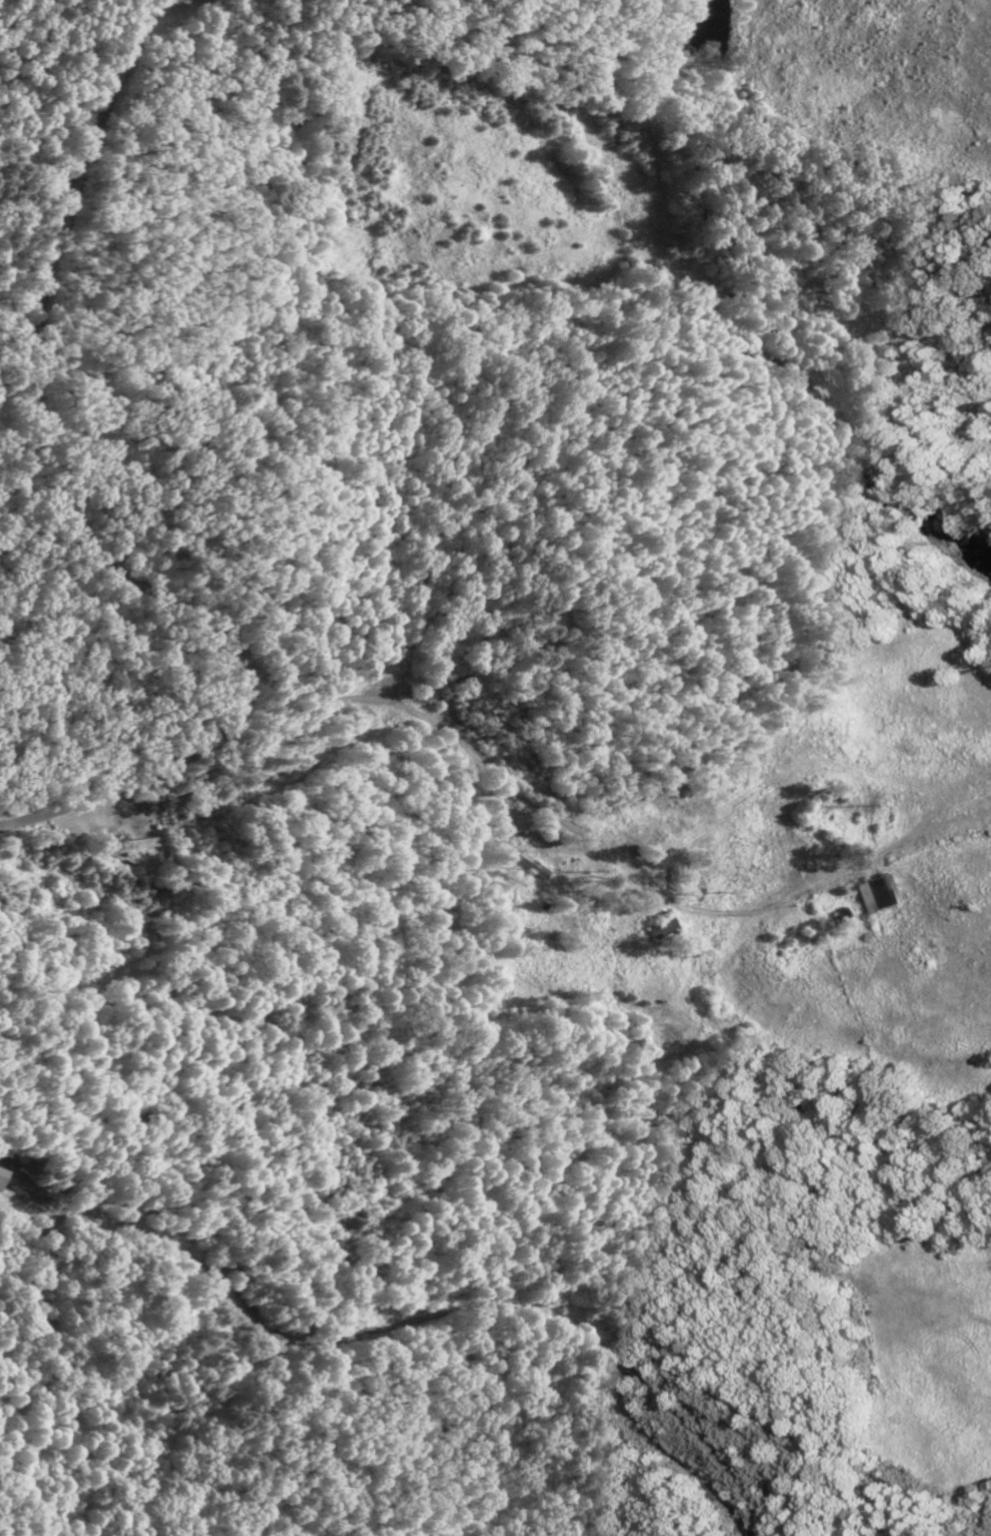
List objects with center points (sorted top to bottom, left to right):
road: (188, 6)
road: (65, 518)
road: (539, 810)
building: (881, 898)
building: (2, 1179)
road: (403, 1349)

